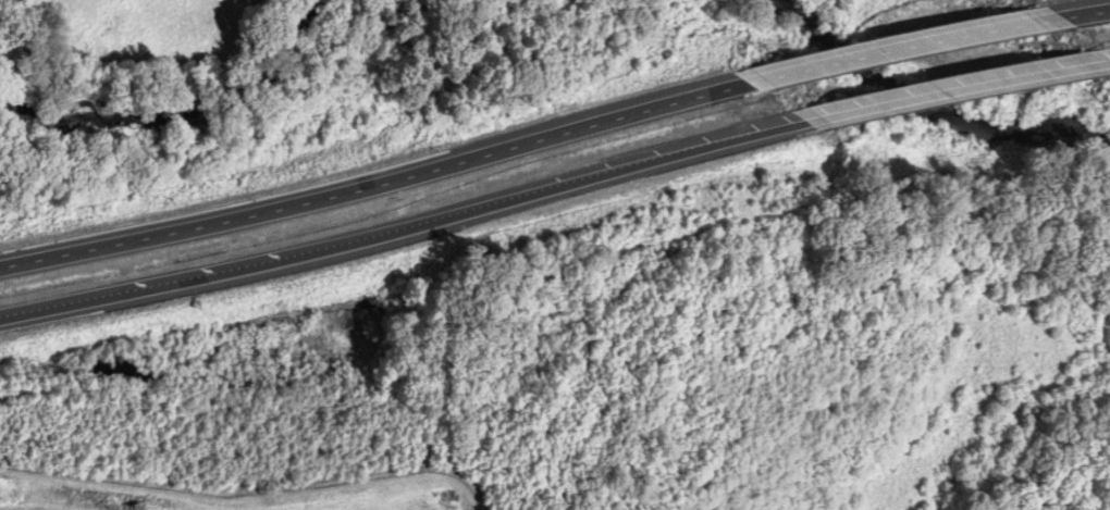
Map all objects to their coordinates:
road: (1084, 14)
road: (908, 47)
road: (960, 88)
road: (381, 187)
road: (407, 225)

